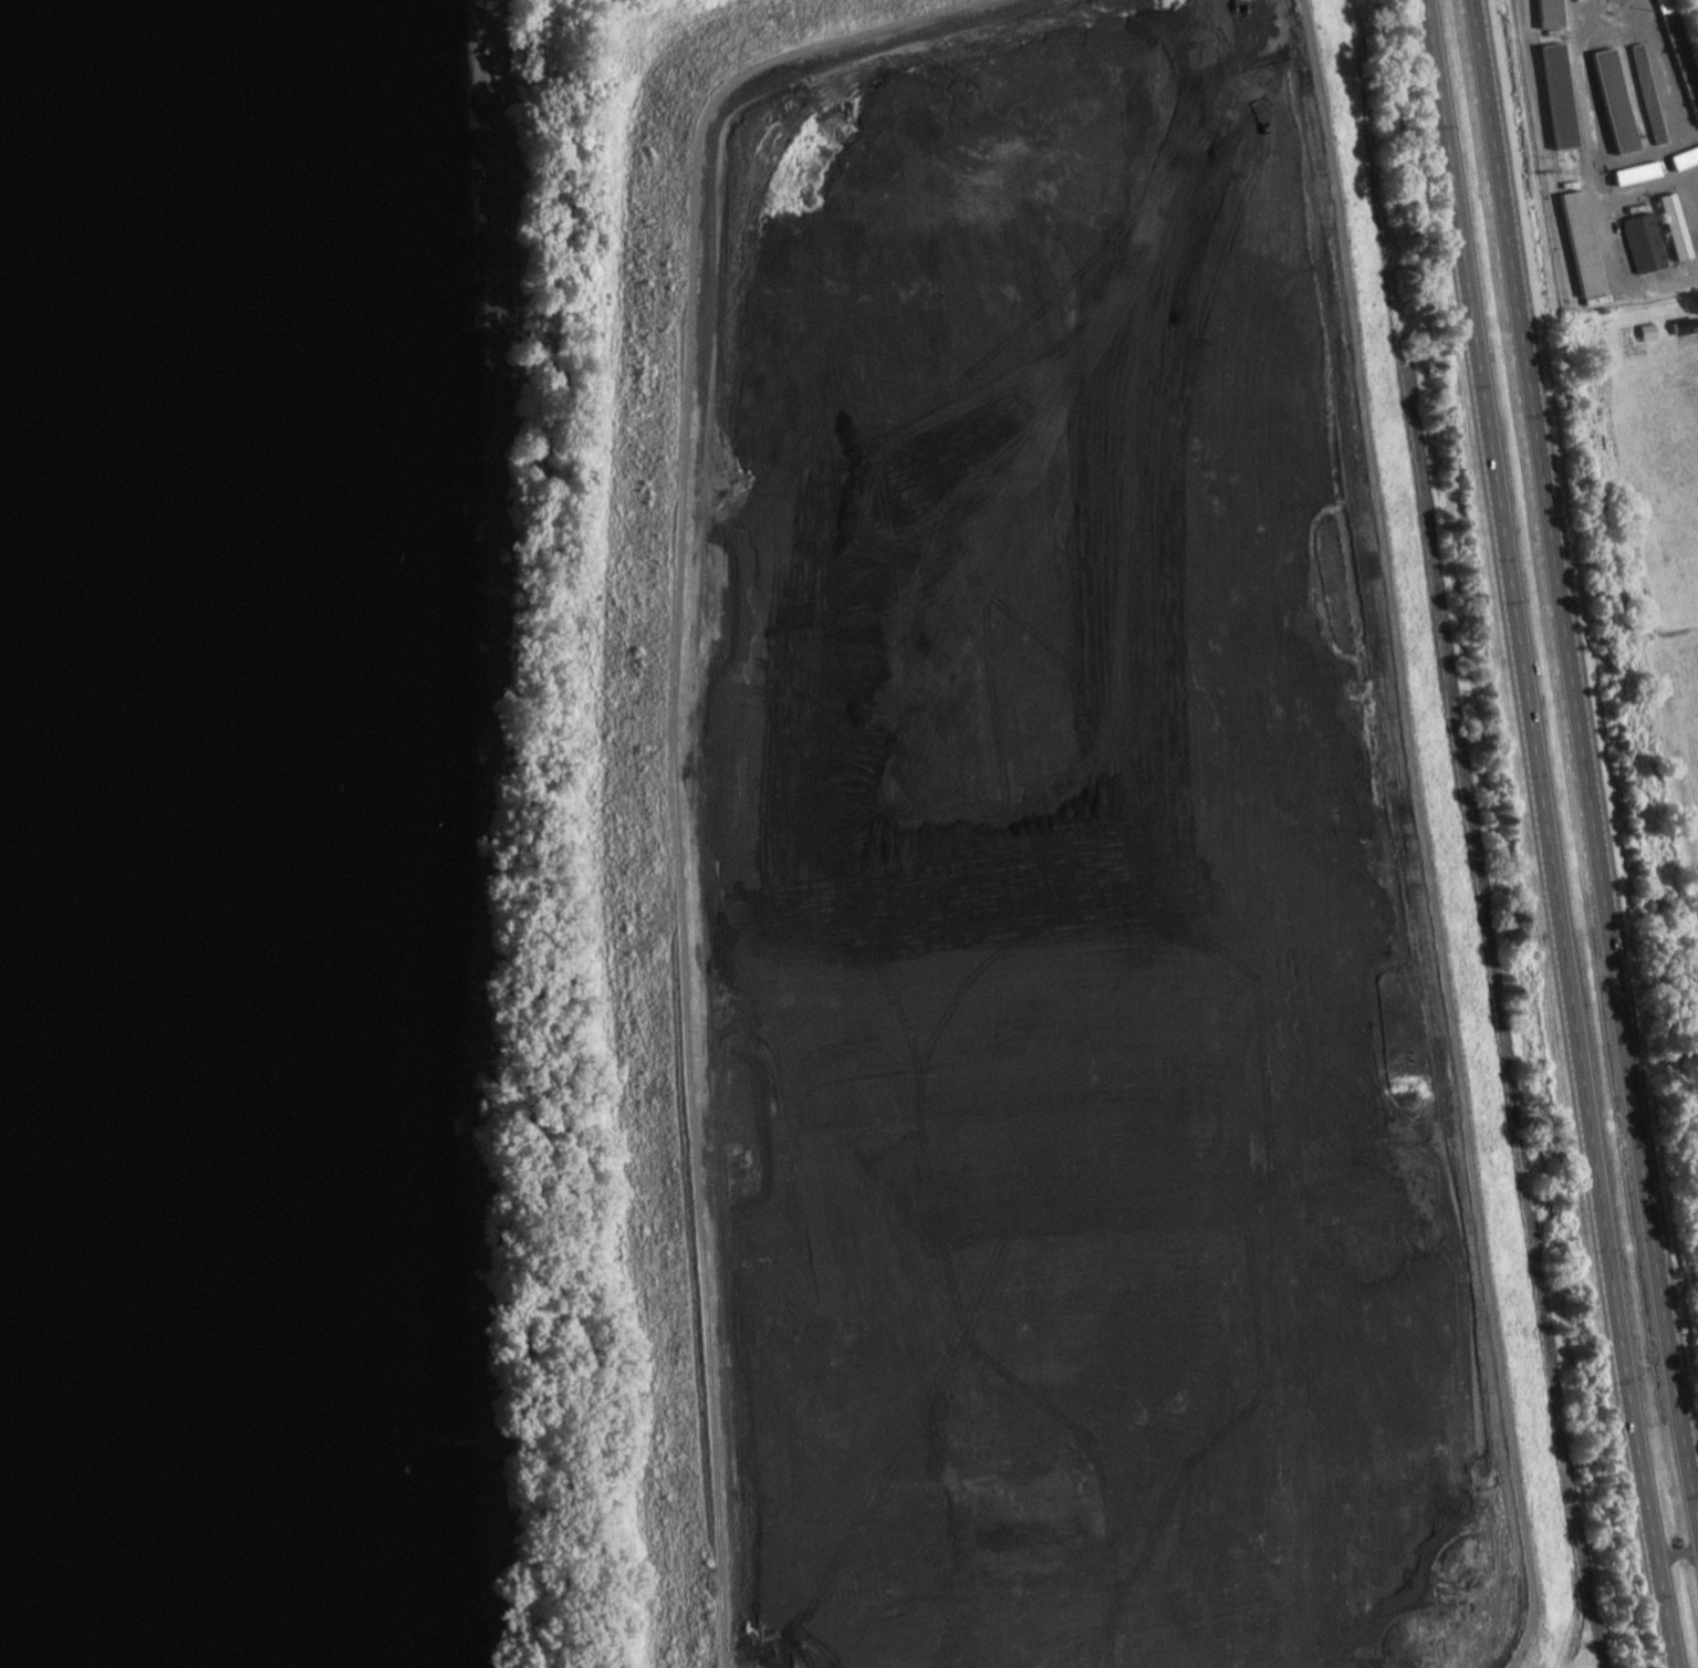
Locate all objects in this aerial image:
building: (1549, 14)
road: (1650, 41)
building: (1678, 67)
building: (1644, 97)
building: (1560, 100)
building: (1614, 105)
building: (1685, 158)
building: (1639, 173)
road: (1646, 188)
building: (1678, 227)
building: (1669, 229)
building: (1640, 244)
building: (1582, 246)
road: (1607, 259)
park: (1659, 444)
park: (1676, 556)
park: (1687, 731)
road: (674, 739)
road: (1586, 765)
road: (1550, 834)
road: (1421, 835)
road: (1499, 1007)
road: (1676, 1555)

